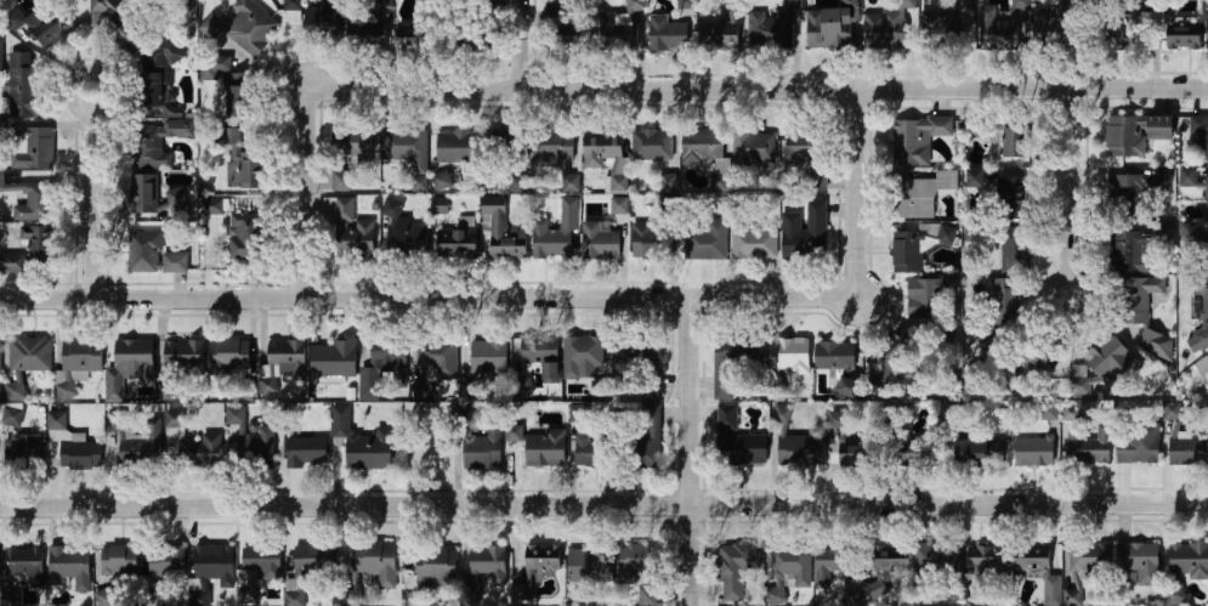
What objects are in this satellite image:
building: (291, 4)
building: (384, 4)
building: (687, 4)
building: (794, 4)
building: (964, 4)
building: (1022, 5)
building: (323, 19)
building: (117, 24)
building: (941, 26)
building: (244, 27)
building: (620, 27)
building: (53, 28)
building: (829, 28)
building: (958, 28)
building: (1207, 28)
building: (885, 29)
building: (771, 30)
building: (1000, 30)
building: (370, 33)
building: (562, 33)
building: (722, 33)
building: (1153, 33)
building: (667, 34)
building: (477, 36)
building: (1125, 38)
building: (416, 39)
building: (1185, 40)
building: (1061, 43)
road: (522, 44)
building: (161, 78)
building: (19, 83)
building: (228, 85)
road: (761, 89)
building: (1162, 128)
building: (1200, 129)
building: (987, 132)
building: (1124, 136)
building: (917, 138)
building: (1017, 141)
building: (160, 142)
building: (651, 145)
building: (503, 146)
building: (703, 146)
building: (454, 147)
building: (30, 148)
building: (601, 148)
building: (753, 148)
building: (407, 152)
building: (347, 153)
building: (555, 154)
building: (807, 154)
building: (242, 163)
building: (976, 177)
building: (1189, 177)
building: (1163, 179)
building: (442, 180)
road: (1066, 180)
building: (516, 182)
building: (720, 182)
building: (616, 185)
road: (860, 189)
building: (917, 193)
road: (308, 194)
road: (95, 196)
building: (143, 196)
building: (27, 197)
building: (1125, 197)
building: (1207, 198)
building: (439, 205)
building: (620, 205)
building: (211, 206)
building: (1013, 227)
building: (348, 230)
building: (402, 231)
building: (805, 231)
building: (1169, 231)
building: (561, 232)
building: (501, 234)
building: (244, 237)
building: (652, 239)
building: (705, 239)
building: (752, 240)
building: (600, 242)
building: (36, 243)
building: (455, 244)
building: (917, 245)
building: (1129, 253)
building: (1206, 253)
building: (152, 255)
building: (12, 264)
road: (1066, 273)
road: (427, 296)
building: (1004, 300)
building: (934, 306)
building: (1202, 312)
building: (1140, 315)
building: (538, 352)
building: (0, 355)
building: (29, 355)
building: (81, 355)
building: (285, 355)
building: (488, 356)
building: (789, 356)
building: (834, 356)
building: (228, 357)
building: (582, 357)
building: (331, 358)
building: (437, 358)
building: (1045, 358)
building: (387, 359)
building: (894, 361)
building: (1111, 361)
building: (637, 362)
building: (178, 364)
building: (735, 364)
building: (127, 366)
building: (1202, 366)
building: (1081, 381)
building: (847, 386)
building: (523, 389)
building: (469, 391)
building: (1173, 410)
building: (1050, 412)
building: (1072, 412)
building: (340, 413)
building: (579, 413)
building: (781, 415)
building: (11, 417)
building: (174, 420)
building: (835, 420)
building: (114, 421)
building: (515, 434)
building: (643, 436)
building: (737, 441)
building: (1138, 443)
building: (73, 446)
building: (1089, 446)
building: (142, 447)
building: (259, 447)
building: (545, 448)
building: (592, 448)
building: (369, 449)
building: (483, 449)
building: (199, 451)
road: (693, 451)
building: (800, 451)
building: (1190, 451)
building: (306, 452)
building: (1034, 452)
building: (23, 453)
building: (979, 453)
building: (853, 455)
building: (917, 457)
road: (603, 505)
building: (1089, 556)
building: (543, 557)
building: (118, 559)
building: (892, 559)
building: (1033, 559)
building: (942, 560)
building: (1189, 560)
building: (376, 561)
building: (989, 561)
building: (1139, 561)
building: (168, 562)
building: (214, 562)
building: (27, 563)
building: (489, 563)
building: (634, 563)
building: (590, 565)
building: (69, 567)
building: (436, 567)
building: (256, 568)
building: (308, 568)
building: (733, 568)
building: (834, 568)
building: (787, 571)
building: (875, 589)
building: (522, 593)
building: (1175, 595)
building: (647, 596)
building: (853, 596)
building: (103, 597)

